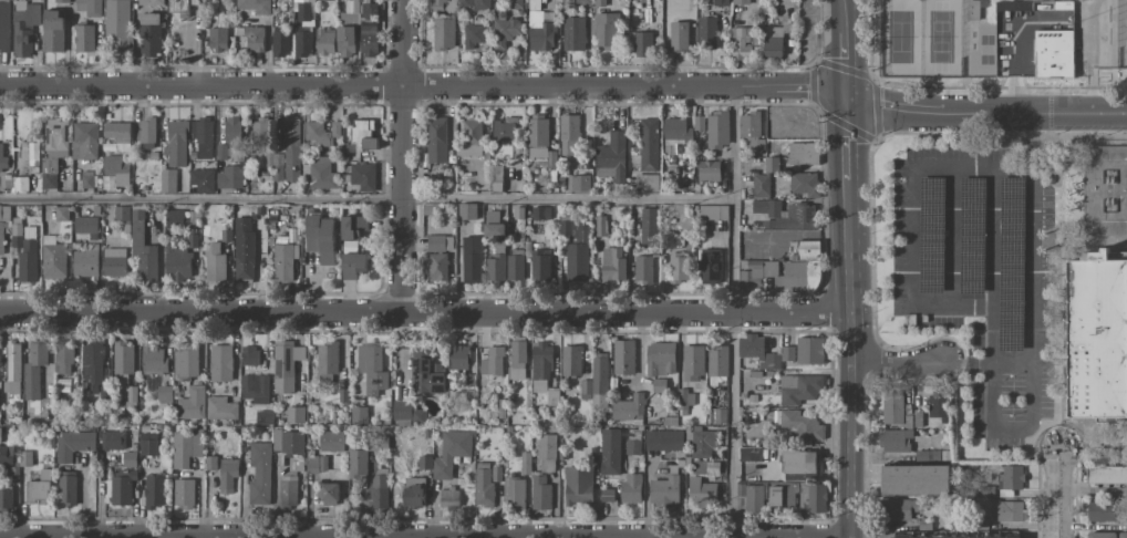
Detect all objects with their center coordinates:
building: (61, 0)
building: (582, 1)
building: (741, 1)
building: (151, 2)
building: (463, 2)
building: (716, 2)
building: (599, 3)
building: (443, 4)
building: (480, 4)
building: (515, 4)
building: (254, 6)
building: (1014, 6)
building: (89, 7)
building: (178, 7)
building: (972, 9)
building: (498, 10)
building: (303, 11)
building: (116, 24)
building: (4, 25)
building: (23, 27)
building: (347, 28)
building: (540, 29)
building: (52, 30)
building: (368, 30)
building: (604, 30)
building: (505, 31)
building: (443, 32)
building: (706, 32)
building: (149, 33)
building: (572, 33)
building: (472, 34)
building: (678, 35)
building: (83, 38)
building: (217, 38)
building: (252, 38)
building: (323, 41)
building: (773, 41)
building: (740, 42)
building: (279, 43)
building: (303, 43)
building: (642, 43)
park: (1001, 43)
building: (1054, 54)
road: (422, 86)
road: (985, 112)
building: (697, 122)
building: (335, 128)
building: (259, 130)
building: (675, 130)
building: (717, 130)
building: (751, 130)
building: (231, 131)
building: (146, 132)
building: (568, 132)
building: (317, 133)
building: (362, 133)
building: (118, 134)
building: (201, 135)
building: (503, 135)
building: (537, 135)
building: (55, 137)
building: (469, 137)
building: (436, 139)
building: (83, 141)
building: (176, 143)
building: (649, 144)
building: (290, 147)
building: (220, 152)
building: (803, 153)
building: (29, 154)
building: (236, 155)
road: (404, 155)
building: (611, 156)
building: (268, 158)
building: (2, 159)
building: (550, 159)
building: (772, 164)
road: (955, 166)
building: (277, 167)
building: (709, 169)
building: (114, 172)
building: (320, 172)
building: (49, 173)
building: (362, 175)
building: (229, 177)
building: (495, 177)
building: (86, 179)
building: (201, 179)
building: (4, 180)
building: (167, 180)
building: (645, 180)
building: (578, 183)
building: (19, 184)
building: (804, 184)
building: (761, 185)
building: (1106, 189)
road: (366, 199)
building: (766, 207)
building: (427, 209)
building: (467, 210)
building: (712, 211)
building: (518, 213)
building: (540, 213)
building: (61, 214)
building: (121, 214)
building: (794, 217)
building: (175, 219)
building: (3, 221)
building: (1015, 223)
building: (493, 224)
building: (85, 226)
building: (352, 226)
building: (600, 226)
building: (649, 226)
building: (226, 235)
road: (912, 236)
building: (320, 237)
road: (953, 237)
building: (192, 240)
building: (670, 240)
building: (438, 242)
building: (142, 249)
building: (242, 249)
building: (575, 249)
building: (806, 250)
building: (23, 255)
building: (52, 258)
building: (471, 259)
building: (114, 261)
building: (283, 261)
building: (496, 261)
building: (85, 262)
building: (177, 262)
building: (214, 263)
building: (352, 263)
building: (612, 263)
road: (994, 263)
building: (515, 265)
building: (539, 265)
building: (437, 266)
building: (710, 266)
building: (676, 267)
building: (643, 268)
road: (848, 268)
building: (755, 271)
building: (798, 277)
road: (1034, 302)
road: (953, 308)
road: (424, 311)
road: (733, 312)
building: (1097, 335)
building: (809, 350)
building: (757, 351)
building: (787, 352)
building: (249, 355)
building: (458, 356)
building: (623, 356)
building: (63, 358)
building: (660, 358)
building: (517, 359)
building: (153, 360)
building: (325, 360)
building: (570, 360)
road: (898, 360)
road: (968, 360)
road: (1014, 360)
building: (492, 361)
building: (692, 361)
building: (0, 362)
building: (122, 362)
building: (185, 362)
building: (220, 362)
building: (92, 364)
building: (285, 364)
building: (540, 364)
building: (717, 364)
building: (13, 366)
building: (371, 366)
building: (33, 368)
building: (425, 372)
building: (149, 384)
building: (599, 385)
building: (659, 385)
building: (254, 387)
building: (343, 387)
building: (798, 387)
building: (585, 389)
building: (103, 391)
building: (132, 393)
building: (164, 393)
building: (61, 395)
building: (552, 397)
building: (683, 399)
road: (993, 399)
building: (192, 402)
building: (938, 405)
building: (220, 407)
building: (629, 407)
building: (891, 407)
building: (401, 410)
building: (294, 414)
building: (358, 414)
building: (720, 415)
building: (262, 416)
building: (417, 416)
building: (799, 423)
road: (1012, 432)
building: (0, 433)
building: (220, 437)
building: (113, 439)
building: (663, 439)
building: (895, 439)
building: (331, 441)
building: (632, 442)
building: (702, 442)
building: (368, 443)
building: (73, 444)
building: (147, 446)
building: (185, 446)
building: (289, 447)
building: (609, 451)
building: (451, 452)
building: (546, 452)
building: (6, 454)
building: (749, 454)
building: (926, 455)
building: (24, 458)
building: (128, 458)
building: (209, 462)
building: (314, 462)
building: (356, 462)
building: (424, 462)
building: (525, 463)
building: (797, 463)
building: (705, 466)
building: (259, 473)
building: (496, 473)
building: (226, 474)
building: (1106, 476)
building: (916, 479)
building: (1010, 479)
building: (483, 485)
building: (578, 485)
building: (39, 486)
building: (121, 486)
building: (66, 487)
building: (631, 487)
building: (379, 488)
building: (153, 490)
building: (287, 490)
building: (663, 490)
building: (986, 490)
building: (183, 492)
building: (413, 492)
building: (701, 492)
road: (1058, 492)
road: (1093, 492)
building: (328, 493)
building: (513, 493)
building: (540, 493)
building: (783, 494)
building: (607, 495)
building: (752, 495)
building: (449, 497)
building: (6, 498)
building: (817, 498)
building: (900, 508)
building: (1006, 510)
building: (1102, 511)
building: (1102, 535)
building: (1123, 535)
building: (963, 537)

